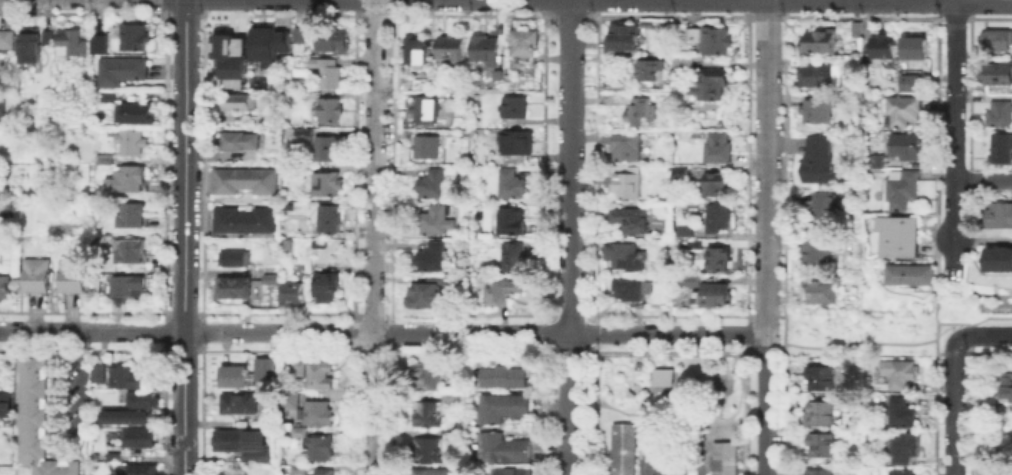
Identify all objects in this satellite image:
road: (983, 0)
building: (137, 36)
building: (299, 37)
building: (624, 37)
building: (7, 38)
building: (74, 42)
building: (715, 42)
building: (822, 42)
building: (998, 42)
building: (269, 43)
building: (335, 43)
building: (525, 43)
building: (34, 45)
building: (100, 45)
building: (883, 48)
building: (916, 48)
building: (452, 49)
building: (486, 49)
building: (416, 51)
building: (227, 57)
building: (687, 65)
building: (652, 72)
building: (122, 74)
building: (328, 74)
building: (499, 74)
building: (998, 75)
building: (817, 77)
building: (906, 81)
building: (711, 84)
building: (109, 98)
building: (237, 103)
building: (1, 108)
building: (515, 109)
building: (425, 110)
building: (329, 112)
building: (642, 112)
building: (903, 113)
building: (135, 114)
building: (817, 114)
building: (1000, 115)
road: (953, 119)
building: (300, 130)
building: (239, 142)
building: (131, 144)
building: (517, 145)
building: (328, 148)
building: (426, 148)
building: (628, 148)
building: (719, 148)
building: (907, 149)
building: (1002, 149)
building: (820, 160)
building: (875, 163)
road: (569, 166)
building: (681, 176)
road: (982, 180)
building: (128, 181)
building: (243, 182)
building: (628, 184)
building: (433, 185)
building: (716, 185)
building: (327, 186)
building: (511, 186)
building: (902, 192)
building: (5, 204)
building: (820, 210)
building: (132, 215)
building: (998, 217)
building: (329, 219)
building: (632, 219)
building: (719, 219)
building: (430, 221)
building: (245, 222)
building: (511, 222)
building: (685, 232)
road: (183, 237)
road: (374, 237)
road: (765, 237)
building: (903, 237)
road: (944, 244)
building: (288, 246)
building: (694, 246)
building: (131, 252)
building: (816, 252)
building: (624, 255)
building: (235, 258)
building: (432, 258)
building: (513, 260)
building: (720, 260)
building: (999, 261)
building: (913, 276)
building: (36, 277)
building: (71, 278)
building: (270, 280)
building: (4, 284)
building: (325, 285)
building: (127, 286)
building: (236, 289)
building: (502, 292)
building: (629, 292)
building: (429, 293)
building: (823, 294)
building: (714, 295)
building: (292, 296)
road: (959, 323)
road: (936, 330)
road: (186, 331)
road: (421, 332)
road: (617, 333)
road: (983, 334)
road: (849, 344)
building: (263, 367)
road: (569, 368)
road: (572, 368)
road: (80, 369)
building: (100, 372)
building: (320, 374)
building: (901, 375)
building: (659, 376)
building: (235, 377)
building: (127, 378)
building: (501, 378)
building: (427, 379)
building: (821, 379)
building: (1005, 388)
building: (141, 397)
building: (449, 398)
building: (3, 400)
building: (290, 401)
park: (647, 403)
building: (241, 404)
road: (952, 406)
building: (503, 410)
building: (818, 413)
building: (317, 414)
building: (902, 414)
building: (427, 416)
building: (128, 418)
building: (38, 422)
building: (298, 431)
building: (449, 433)
building: (138, 439)
road: (566, 439)
building: (244, 445)
building: (818, 446)
building: (504, 448)
building: (624, 448)
building: (903, 448)
building: (321, 449)
building: (426, 451)
building: (115, 458)
building: (725, 458)
building: (676, 465)
building: (298, 469)
building: (142, 470)
building: (512, 471)
building: (325, 472)
building: (430, 472)
building: (819, 472)
building: (902, 472)
building: (228, 473)

